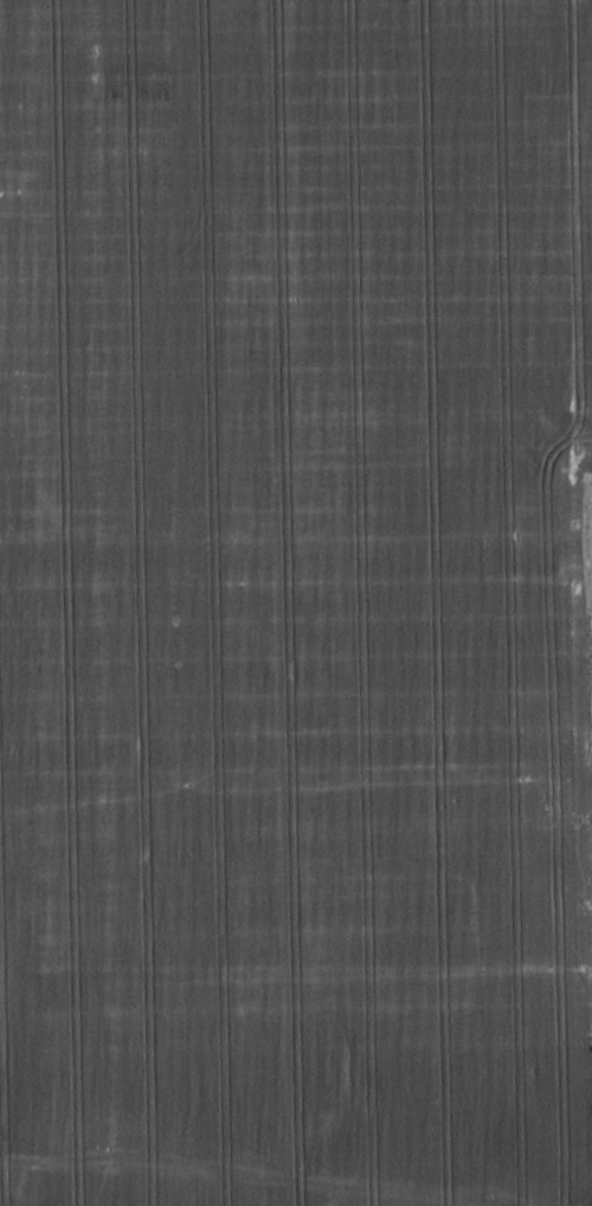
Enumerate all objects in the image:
crop: (294, 602)

